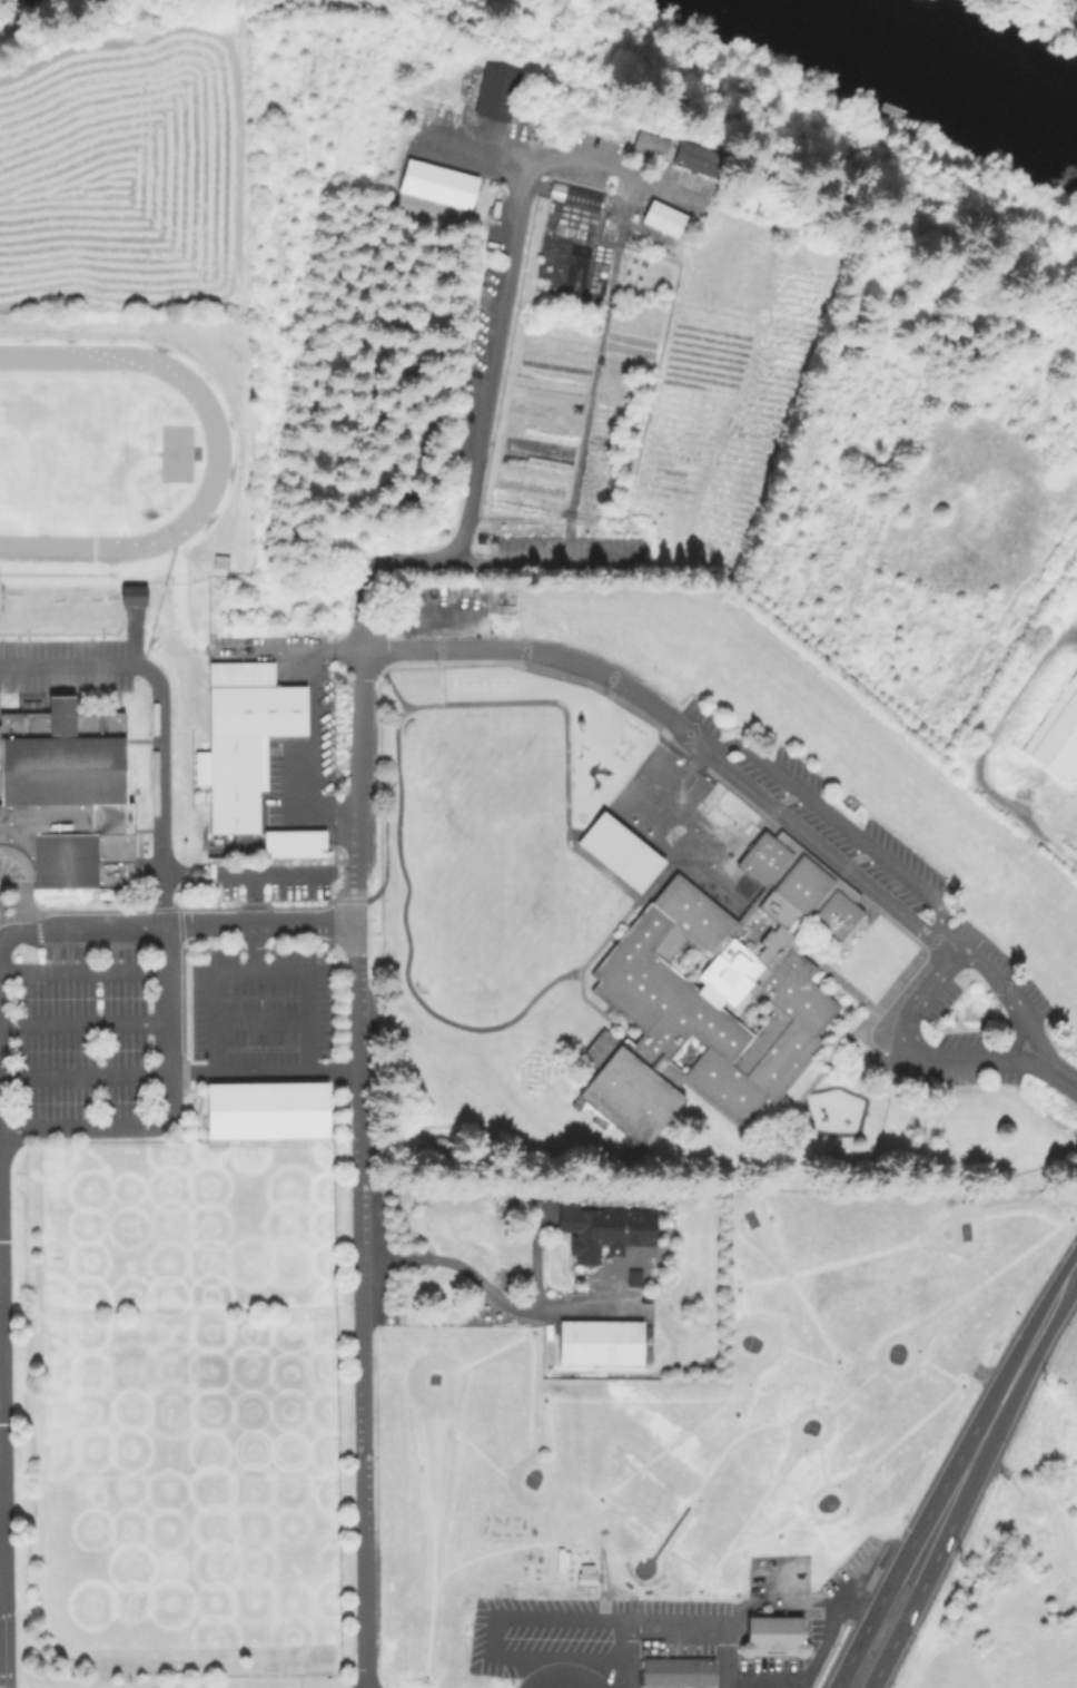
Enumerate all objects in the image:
building: (1074, 1)
river: (964, 59)
building: (494, 92)
building: (648, 144)
road: (476, 149)
parking lot: (589, 158)
building: (694, 159)
building: (436, 184)
building: (574, 195)
building: (661, 218)
road: (493, 354)
track: (215, 446)
park: (65, 452)
parking lot: (526, 555)
building: (131, 593)
parking lot: (63, 665)
road: (357, 723)
road: (316, 732)
building: (1057, 733)
building: (243, 737)
road: (974, 769)
park: (654, 783)
building: (65, 796)
park: (515, 797)
park: (632, 821)
parking lot: (846, 828)
road: (851, 830)
park: (646, 833)
building: (293, 843)
building: (619, 852)
park: (685, 867)
park: (659, 872)
road: (267, 874)
park: (649, 884)
park: (742, 886)
parking lot: (270, 889)
road: (160, 901)
road: (175, 924)
road: (251, 924)
park: (452, 924)
road: (597, 944)
road: (81, 969)
road: (259, 974)
building: (713, 992)
parking lot: (258, 1005)
road: (81, 1022)
parking lot: (970, 1022)
parking lot: (81, 1036)
road: (926, 1054)
road: (261, 1072)
road: (82, 1073)
building: (266, 1109)
park: (185, 1226)
building: (603, 1230)
building: (633, 1278)
road: (476, 1284)
building: (591, 1344)
park: (186, 1402)
road: (996, 1414)
road: (0, 1505)
park: (188, 1566)
building: (583, 1573)
road: (562, 1616)
road: (873, 1616)
road: (903, 1623)
road: (831, 1627)
building: (775, 1636)
road: (629, 1651)
building: (680, 1674)
road: (564, 1675)

